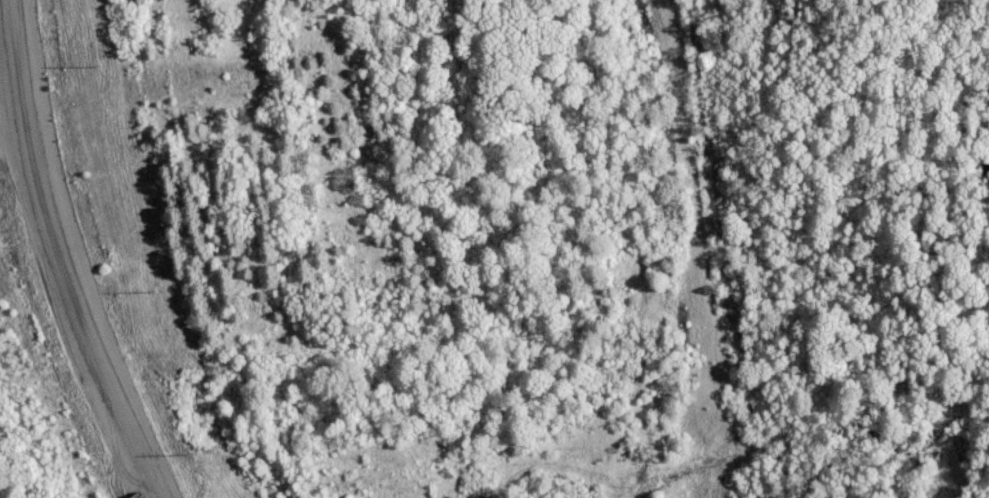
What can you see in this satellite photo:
road: (81, 251)

